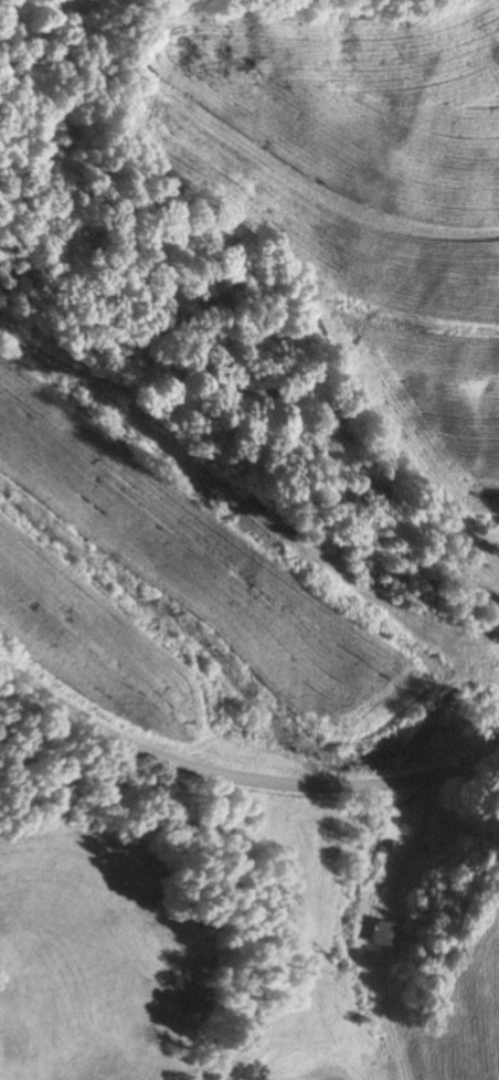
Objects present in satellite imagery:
road: (236, 770)
building: (381, 933)

